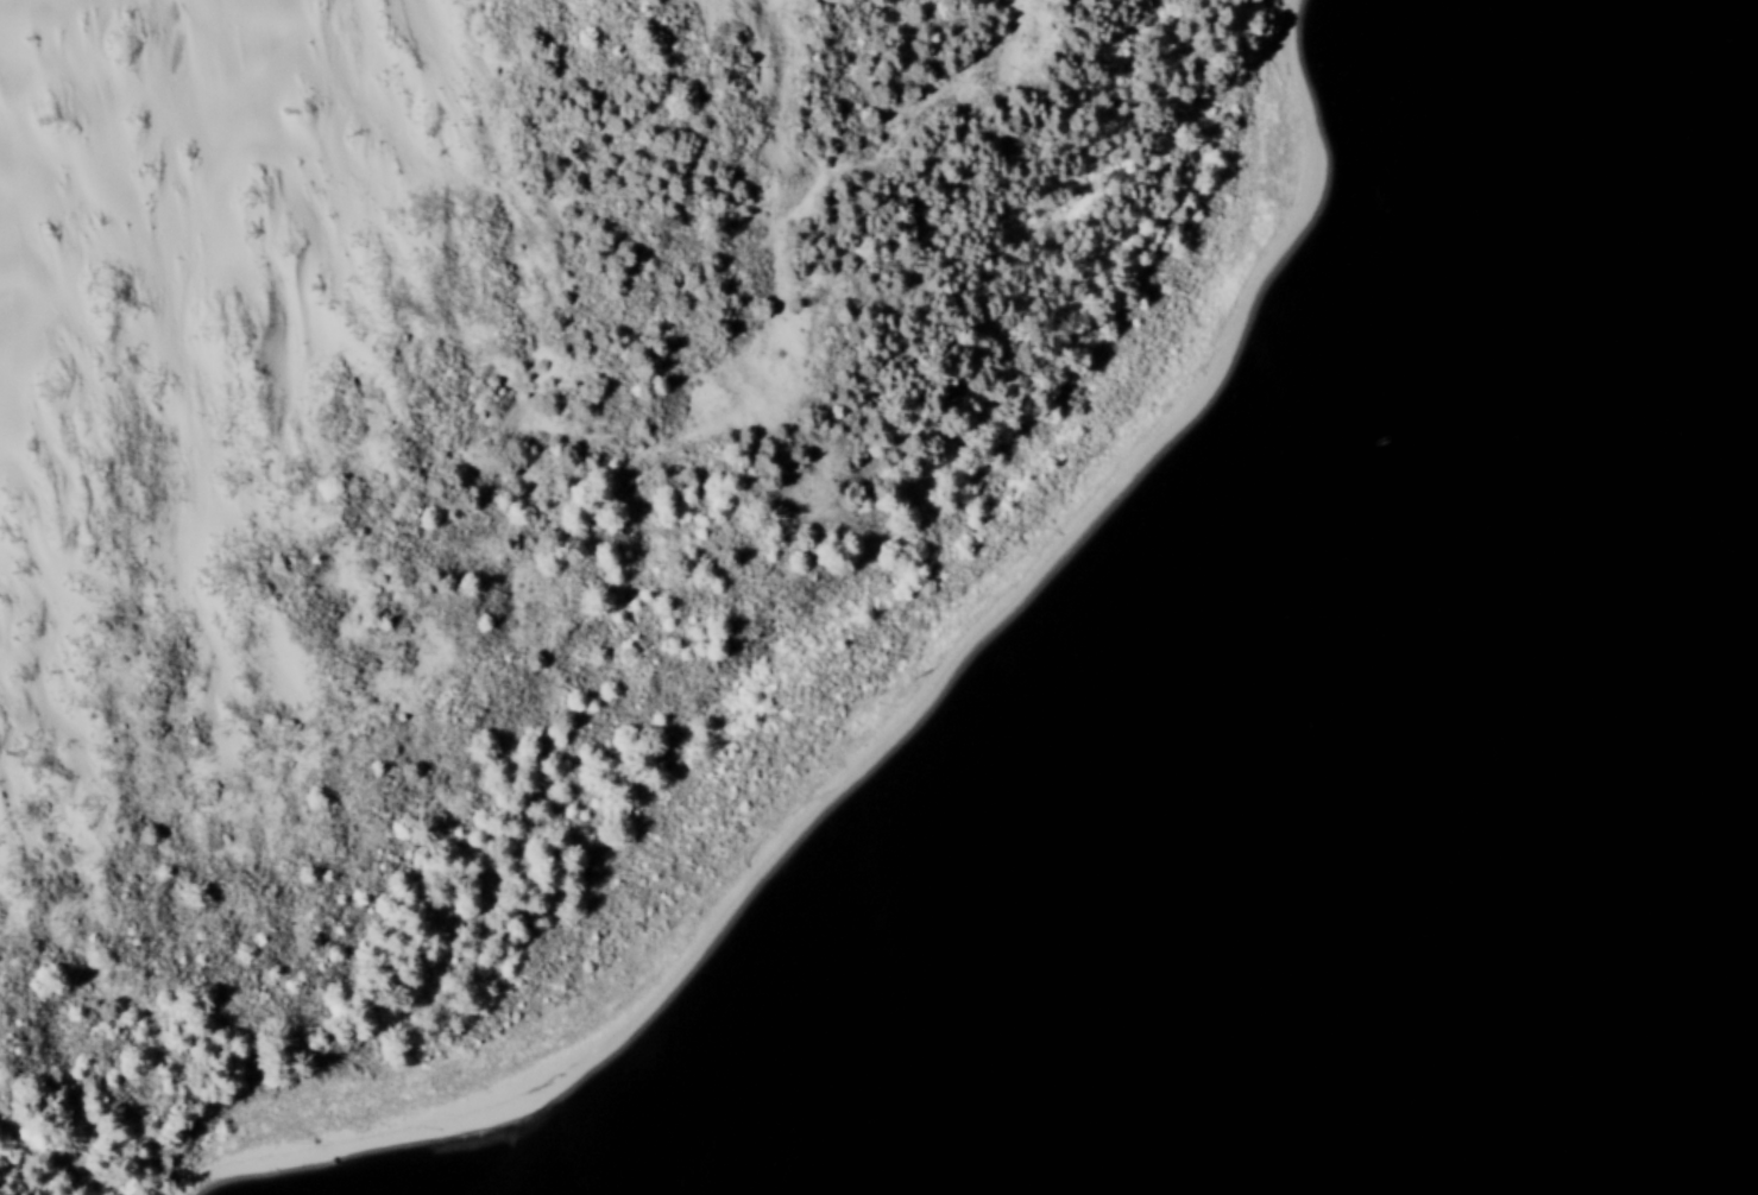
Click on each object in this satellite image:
river: (1703, 1131)

